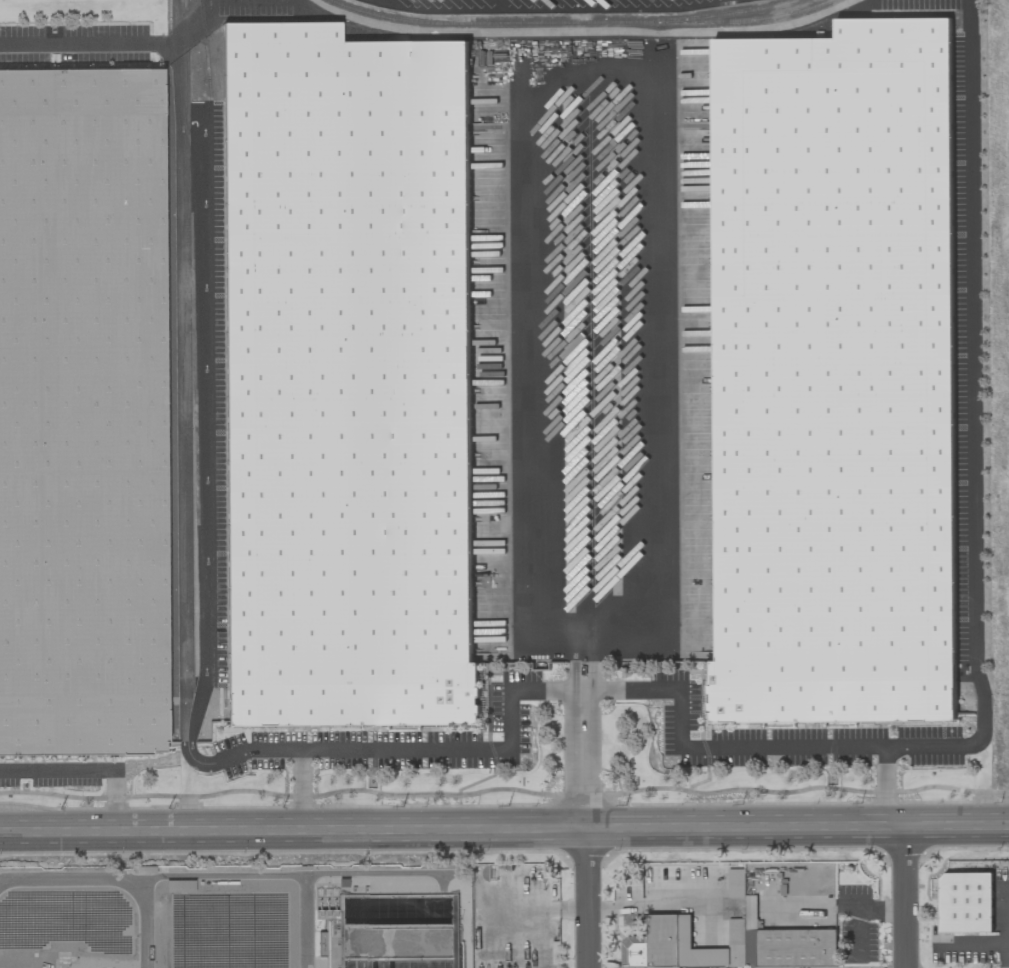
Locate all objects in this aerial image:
railway: (735, 12)
railway: (578, 22)
road: (76, 43)
road: (611, 60)
railway: (195, 308)
railway: (218, 344)
building: (833, 377)
building: (349, 379)
railway: (211, 391)
building: (81, 412)
road: (971, 418)
road: (594, 667)
road: (576, 668)
road: (586, 685)
road: (590, 688)
road: (587, 760)
road: (89, 769)
road: (504, 832)
building: (736, 883)
building: (179, 886)
road: (903, 897)
road: (588, 899)
building: (966, 903)
road: (612, 906)
road: (675, 906)
wastewater plant: (237, 917)
road: (865, 921)
building: (349, 945)
building: (729, 945)

